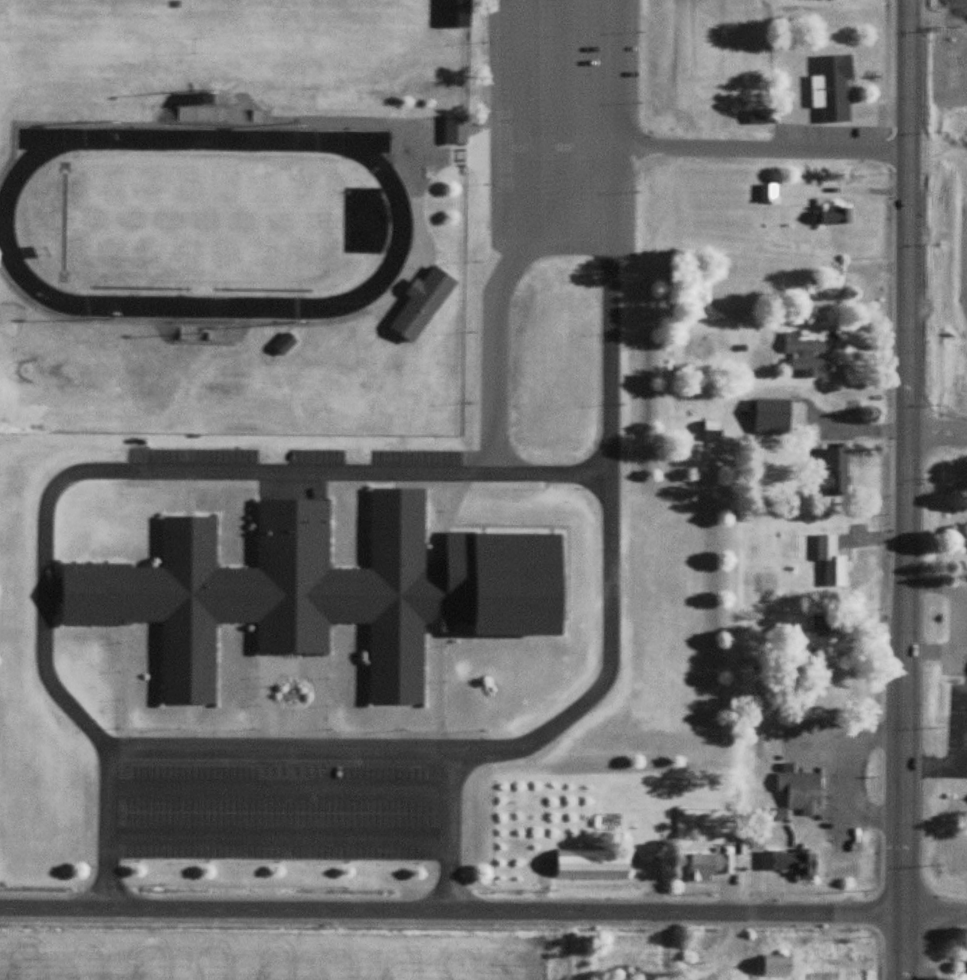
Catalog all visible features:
road: (939, 15)
building: (834, 89)
building: (206, 111)
road: (911, 111)
building: (762, 117)
road: (620, 123)
building: (457, 129)
building: (769, 193)
building: (835, 216)
track: (403, 228)
building: (820, 290)
building: (424, 304)
building: (286, 344)
building: (808, 356)
building: (712, 431)
road: (937, 433)
building: (839, 471)
building: (833, 561)
building: (326, 592)
road: (904, 601)
building: (820, 622)
building: (832, 649)
building: (803, 792)
building: (793, 863)
building: (595, 866)
building: (708, 867)
road: (450, 911)
road: (934, 915)
building: (779, 966)

